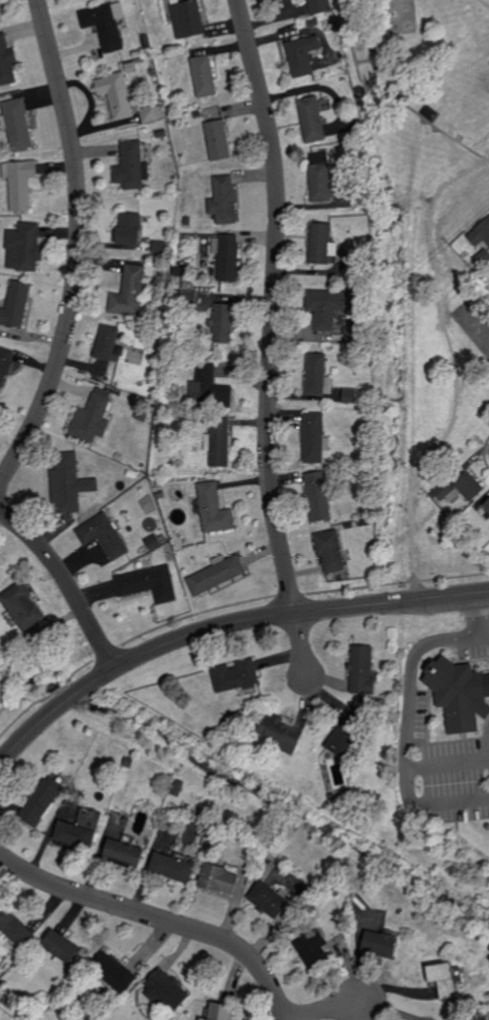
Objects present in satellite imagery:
building: (275, 0)
building: (116, 1)
road: (485, 2)
building: (319, 6)
building: (188, 18)
building: (1, 19)
building: (103, 26)
building: (303, 55)
building: (6, 62)
building: (339, 65)
building: (130, 67)
building: (204, 76)
building: (116, 95)
road: (391, 98)
building: (169, 111)
building: (148, 114)
building: (430, 114)
building: (312, 119)
building: (17, 123)
building: (163, 134)
building: (218, 140)
building: (132, 165)
building: (320, 182)
building: (21, 184)
building: (223, 200)
building: (188, 221)
building: (130, 229)
building: (480, 233)
building: (320, 244)
building: (455, 245)
building: (28, 247)
building: (159, 247)
road: (79, 248)
park: (425, 248)
building: (228, 258)
building: (482, 258)
building: (129, 293)
building: (185, 298)
building: (17, 304)
road: (274, 305)
building: (331, 306)
building: (223, 323)
building: (355, 336)
building: (108, 344)
building: (5, 365)
road: (455, 369)
building: (317, 375)
building: (210, 389)
building: (350, 397)
building: (92, 418)
building: (195, 425)
building: (369, 428)
building: (314, 438)
building: (220, 443)
building: (132, 474)
building: (69, 483)
building: (461, 488)
building: (160, 494)
building: (318, 496)
building: (487, 505)
building: (214, 508)
building: (364, 522)
building: (349, 525)
building: (104, 535)
building: (152, 541)
building: (330, 549)
building: (3, 571)
building: (216, 574)
road: (66, 582)
building: (149, 583)
building: (22, 604)
road: (480, 613)
road: (223, 626)
road: (485, 637)
building: (26, 639)
road: (440, 640)
road: (301, 644)
building: (362, 669)
building: (234, 675)
building: (460, 696)
building: (280, 732)
building: (348, 732)
road: (406, 773)
building: (177, 788)
building: (41, 800)
building: (79, 830)
building: (125, 854)
building: (173, 868)
building: (219, 880)
building: (269, 900)
road: (160, 918)
building: (14, 928)
building: (381, 944)
building: (62, 947)
building: (312, 950)
building: (113, 970)
building: (443, 980)
building: (165, 989)
road: (325, 1008)
building: (220, 1011)

